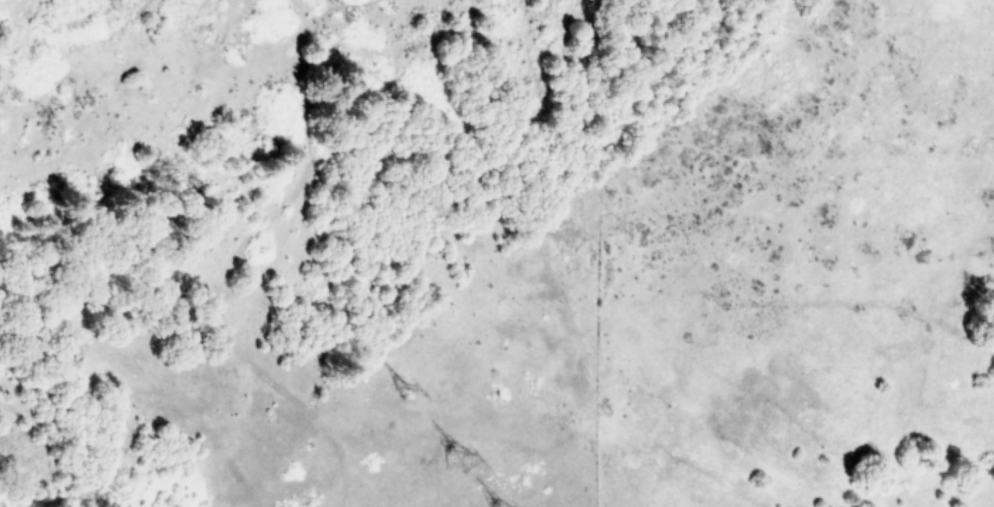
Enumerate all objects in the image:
power tower: (401, 395)
power tower: (464, 457)
power tower: (512, 504)

